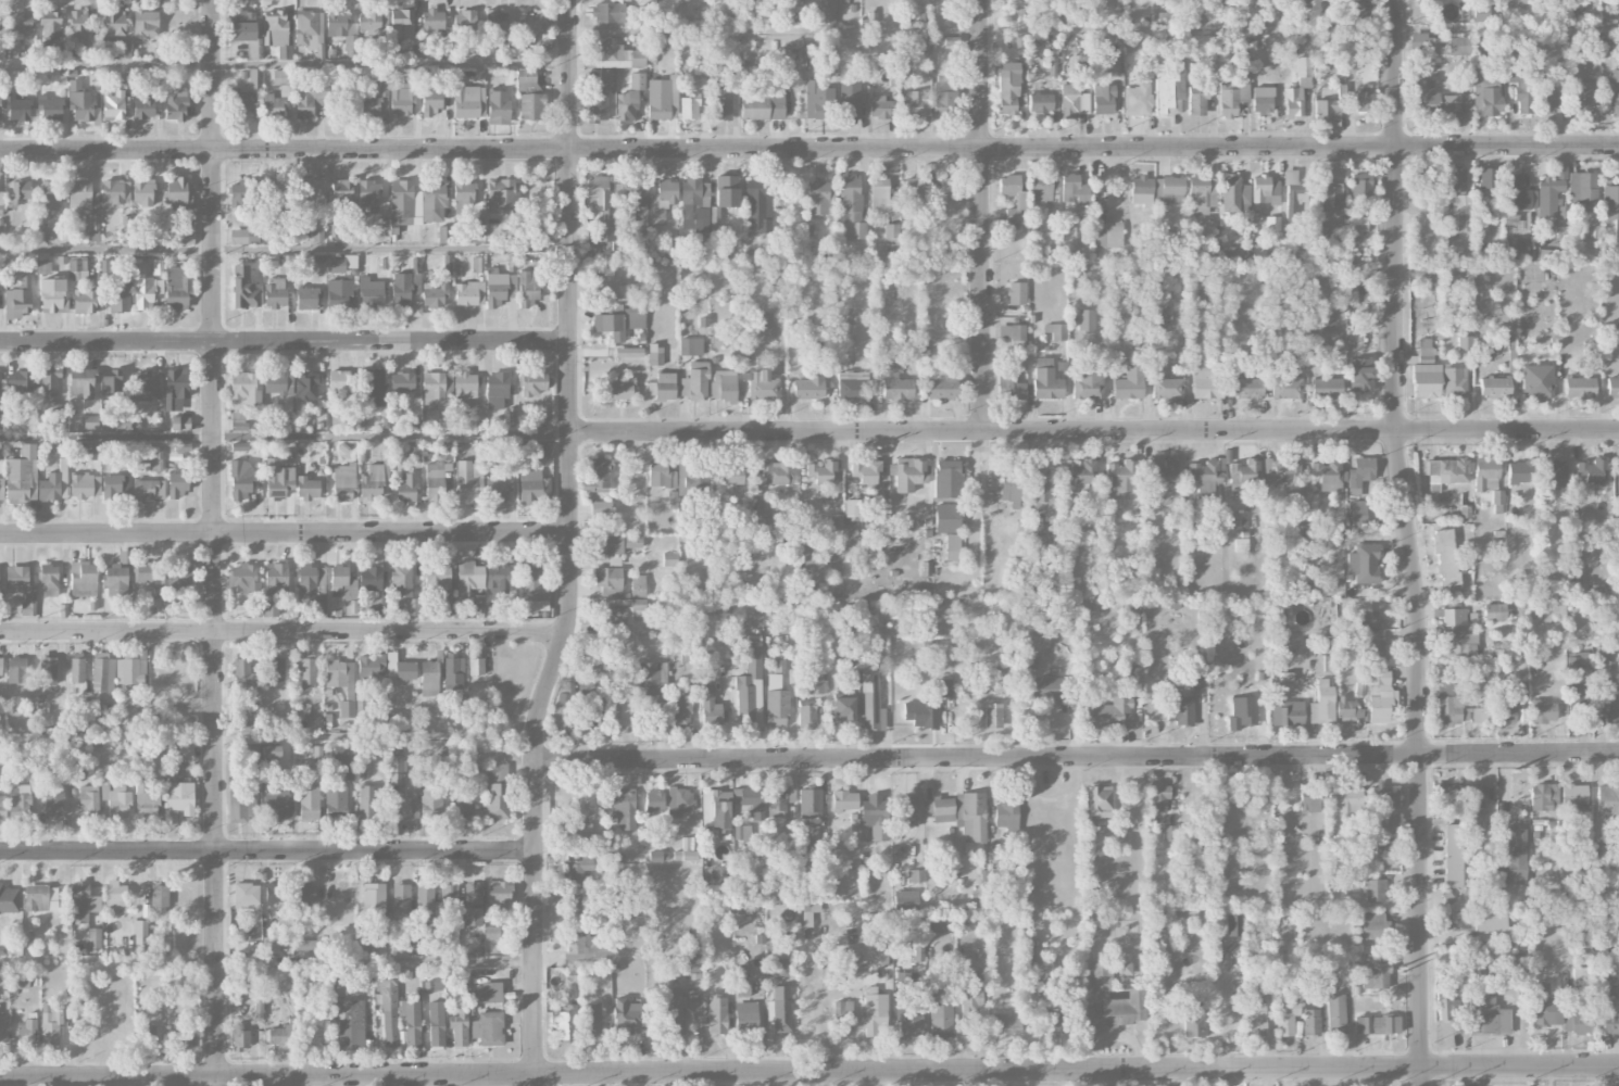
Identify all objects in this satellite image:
building: (662, 3)
building: (1301, 3)
building: (1577, 5)
building: (608, 12)
building: (826, 12)
building: (1481, 12)
building: (372, 20)
building: (431, 20)
building: (464, 20)
building: (0, 21)
building: (20, 22)
building: (494, 22)
building: (535, 22)
building: (113, 23)
building: (336, 23)
building: (401, 23)
building: (50, 24)
building: (146, 24)
building: (78, 25)
building: (275, 27)
building: (309, 29)
building: (243, 30)
building: (1489, 38)
building: (1240, 40)
building: (1607, 43)
building: (350, 45)
building: (1459, 46)
building: (1426, 47)
building: (124, 48)
building: (618, 54)
building: (1114, 64)
building: (1303, 68)
building: (1210, 73)
building: (281, 76)
building: (255, 78)
building: (605, 78)
building: (1169, 87)
building: (1234, 88)
building: (1612, 89)
building: (529, 93)
building: (944, 93)
building: (1007, 94)
building: (1546, 94)
building: (310, 98)
building: (401, 98)
building: (662, 98)
building: (1521, 98)
building: (1581, 98)
building: (629, 99)
building: (1103, 99)
building: (1262, 99)
building: (1423, 99)
building: (1485, 99)
building: (241, 100)
building: (817, 100)
building: (849, 100)
building: (1137, 100)
building: (1196, 100)
building: (80, 101)
building: (468, 101)
building: (721, 101)
building: (1072, 101)
building: (1364, 101)
building: (375, 102)
building: (430, 102)
building: (1040, 102)
building: (912, 103)
building: (1293, 103)
building: (113, 104)
building: (175, 104)
building: (272, 105)
building: (143, 106)
building: (498, 106)
building: (597, 106)
building: (689, 106)
building: (763, 106)
building: (880, 106)
building: (1329, 106)
building: (1455, 106)
building: (17, 108)
building: (49, 108)
road: (810, 149)
building: (1486, 177)
building: (1457, 180)
building: (1360, 185)
building: (917, 187)
building: (1041, 187)
building: (949, 188)
building: (305, 189)
building: (1072, 189)
building: (1157, 189)
building: (1171, 189)
building: (1264, 189)
building: (1582, 189)
building: (635, 190)
building: (726, 190)
building: (1141, 190)
building: (18, 191)
building: (142, 191)
building: (115, 192)
building: (177, 192)
building: (339, 192)
building: (368, 192)
building: (240, 193)
building: (1232, 193)
building: (1520, 193)
building: (50, 194)
building: (1292, 194)
building: (462, 195)
building: (501, 195)
building: (1198, 195)
building: (1548, 195)
building: (81, 197)
building: (820, 197)
building: (1331, 197)
building: (882, 198)
building: (275, 199)
building: (432, 200)
building: (662, 200)
building: (1610, 200)
building: (1020, 201)
building: (1, 203)
building: (404, 203)
building: (603, 203)
building: (694, 204)
building: (757, 205)
building: (851, 209)
building: (1461, 211)
building: (1562, 215)
road: (983, 216)
building: (1272, 223)
building: (93, 227)
building: (476, 227)
building: (1356, 228)
building: (1320, 230)
building: (337, 232)
building: (317, 233)
building: (891, 233)
building: (443, 235)
building: (243, 236)
building: (1109, 236)
building: (185, 237)
road: (392, 245)
building: (1516, 248)
road: (106, 249)
building: (341, 263)
building: (286, 264)
building: (43, 266)
building: (108, 267)
building: (77, 269)
building: (607, 285)
building: (528, 287)
building: (176, 288)
building: (243, 288)
building: (494, 288)
building: (401, 290)
building: (371, 291)
building: (275, 292)
building: (339, 292)
building: (1016, 292)
building: (143, 293)
building: (469, 293)
building: (52, 295)
building: (118, 295)
building: (434, 295)
building: (306, 298)
building: (17, 299)
building: (85, 301)
building: (636, 316)
building: (1085, 319)
building: (611, 321)
building: (767, 321)
building: (1156, 326)
building: (1056, 331)
building: (1013, 333)
road: (286, 342)
building: (1465, 342)
building: (690, 346)
building: (1423, 350)
building: (655, 355)
building: (1359, 375)
building: (0, 378)
building: (1045, 379)
building: (1206, 379)
building: (20, 380)
building: (402, 381)
building: (694, 381)
building: (1426, 381)
building: (1453, 381)
building: (50, 382)
building: (83, 382)
building: (277, 382)
building: (339, 382)
building: (532, 382)
building: (1536, 382)
building: (1129, 383)
building: (111, 384)
building: (146, 384)
building: (306, 384)
building: (464, 384)
building: (762, 384)
building: (941, 384)
building: (1087, 384)
building: (371, 386)
building: (663, 386)
building: (723, 386)
building: (852, 386)
building: (895, 386)
building: (1008, 386)
building: (1246, 386)
building: (808, 387)
building: (1494, 387)
building: (1579, 387)
building: (1612, 387)
building: (175, 388)
building: (244, 388)
building: (622, 388)
building: (1166, 388)
building: (1285, 388)
building: (1326, 388)
building: (497, 389)
building: (437, 391)
building: (59, 409)
building: (431, 415)
building: (511, 416)
building: (237, 420)
building: (179, 422)
road: (1095, 433)
road: (285, 434)
building: (181, 446)
building: (239, 446)
building: (89, 450)
building: (413, 451)
building: (444, 451)
building: (155, 458)
building: (1592, 470)
building: (777, 471)
building: (823, 471)
building: (865, 471)
building: (1081, 472)
building: (1447, 472)
building: (1519, 472)
building: (733, 473)
building: (907, 473)
building: (1159, 473)
building: (1283, 473)
building: (1485, 473)
building: (1552, 473)
building: (22, 475)
building: (279, 475)
building: (660, 475)
building: (1330, 475)
building: (1359, 475)
building: (598, 476)
building: (1244, 476)
building: (1121, 477)
building: (1206, 478)
building: (947, 479)
building: (240, 480)
building: (344, 482)
building: (373, 482)
building: (468, 482)
building: (687, 482)
building: (54, 483)
building: (434, 483)
building: (177, 484)
building: (84, 485)
building: (532, 485)
building: (116, 487)
building: (1, 488)
building: (306, 488)
building: (405, 488)
building: (1013, 488)
building: (148, 489)
building: (499, 490)
building: (1042, 490)
building: (1497, 497)
building: (762, 507)
building: (852, 507)
building: (600, 509)
building: (1358, 512)
building: (946, 518)
building: (836, 521)
building: (764, 526)
road: (285, 535)
road: (1410, 542)
road: (215, 543)
building: (616, 543)
road: (570, 545)
building: (952, 546)
building: (669, 559)
building: (1446, 560)
building: (1366, 563)
building: (147, 572)
building: (437, 574)
building: (242, 577)
building: (83, 578)
building: (275, 578)
building: (369, 578)
building: (468, 578)
building: (497, 578)
building: (608, 578)
building: (177, 579)
building: (48, 580)
building: (116, 580)
building: (339, 580)
building: (401, 580)
building: (534, 583)
building: (306, 584)
building: (638, 585)
building: (23, 588)
building: (412, 606)
building: (271, 608)
building: (239, 610)
building: (620, 610)
building: (1494, 611)
building: (1364, 615)
road: (281, 632)
building: (1457, 634)
building: (1376, 649)
building: (1032, 662)
building: (1328, 662)
building: (1193, 665)
building: (476, 666)
building: (77, 667)
building: (0, 668)
building: (399, 668)
building: (47, 669)
building: (369, 669)
building: (17, 670)
building: (128, 671)
building: (277, 671)
building: (304, 671)
building: (453, 671)
building: (339, 673)
building: (103, 675)
building: (243, 675)
building: (429, 678)
building: (649, 678)
building: (1135, 680)
building: (816, 682)
building: (1198, 683)
building: (1578, 684)
building: (750, 687)
building: (943, 687)
building: (1044, 687)
building: (1380, 696)
building: (871, 702)
building: (1321, 703)
building: (1608, 703)
building: (1447, 705)
building: (587, 707)
building: (710, 707)
building: (347, 708)
building: (776, 708)
building: (842, 708)
building: (1179, 708)
building: (1347, 708)
building: (563, 709)
building: (680, 710)
building: (1506, 710)
building: (1542, 710)
building: (617, 711)
building: (1242, 712)
building: (1287, 712)
building: (1477, 712)
building: (920, 715)
building: (993, 715)
building: (1112, 715)
building: (806, 717)
building: (246, 729)
building: (271, 750)
building: (248, 754)
road: (1519, 754)
building: (186, 756)
road: (978, 758)
building: (344, 760)
building: (441, 762)
building: (396, 769)
building: (27, 770)
building: (78, 773)
building: (495, 791)
building: (1380, 795)
building: (180, 797)
building: (1543, 797)
building: (1573, 797)
building: (1158, 798)
building: (1219, 798)
building: (1309, 798)
building: (116, 799)
building: (1244, 799)
building: (1473, 799)
building: (18, 800)
building: (89, 800)
building: (146, 800)
building: (654, 800)
building: (679, 800)
building: (843, 800)
building: (1444, 800)
building: (1607, 800)
building: (54, 801)
building: (277, 801)
building: (366, 801)
building: (586, 801)
building: (748, 801)
building: (1100, 801)
building: (1347, 801)
building: (309, 803)
building: (780, 803)
building: (810, 804)
building: (238, 805)
building: (430, 805)
building: (2, 806)
building: (402, 807)
building: (623, 808)
building: (716, 808)
building: (464, 809)
building: (940, 809)
building: (335, 810)
building: (906, 810)
building: (1006, 815)
building: (875, 816)
building: (971, 821)
building: (741, 833)
building: (1384, 847)
road: (267, 850)
building: (915, 853)
building: (685, 855)
building: (1511, 855)
building: (654, 856)
building: (1453, 856)
building: (577, 870)
building: (915, 875)
building: (1372, 889)
building: (276, 893)
building: (303, 894)
building: (449, 894)
building: (498, 894)
building: (246, 895)
building: (424, 895)
building: (115, 896)
building: (40, 897)
building: (160, 897)
building: (373, 897)
building: (400, 898)
building: (905, 899)
building: (9, 900)
building: (83, 900)
building: (579, 904)
building: (473, 905)
building: (810, 911)
building: (1458, 921)
building: (1489, 921)
building: (905, 924)
building: (939, 925)
building: (1233, 925)
building: (1375, 925)
building: (491, 932)
building: (140, 936)
building: (93, 937)
building: (367, 943)
building: (271, 944)
building: (308, 945)
building: (577, 946)
building: (1028, 951)
building: (918, 952)
building: (851, 956)
building: (879, 956)
building: (1519, 961)
building: (1536, 963)
building: (782, 971)
building: (1375, 975)
building: (1578, 975)
building: (20, 981)
building: (693, 986)
building: (742, 989)
building: (488, 993)
building: (1029, 993)
building: (971, 999)
building: (1112, 1000)
building: (1446, 1005)
building: (388, 1006)
building: (1544, 1006)
building: (258, 1009)
building: (672, 1010)
building: (779, 1010)
building: (874, 1011)
building: (941, 1013)
building: (1335, 1013)
building: (717, 1014)
building: (1486, 1014)
building: (745, 1015)
building: (843, 1015)
building: (627, 1016)
building: (1285, 1016)
building: (1053, 1018)
building: (1193, 1018)
building: (1255, 1018)
building: (591, 1019)
building: (909, 1020)
building: (410, 1021)
building: (460, 1021)
building: (565, 1022)
building: (1006, 1022)
building: (1310, 1022)
building: (1577, 1022)
building: (50, 1023)
building: (436, 1023)
building: (350, 1024)
building: (1376, 1024)
building: (26, 1027)
building: (488, 1027)
building: (3, 1030)
building: (147, 1034)
building: (279, 1036)
building: (240, 1037)
building: (183, 1039)
road: (810, 1072)

